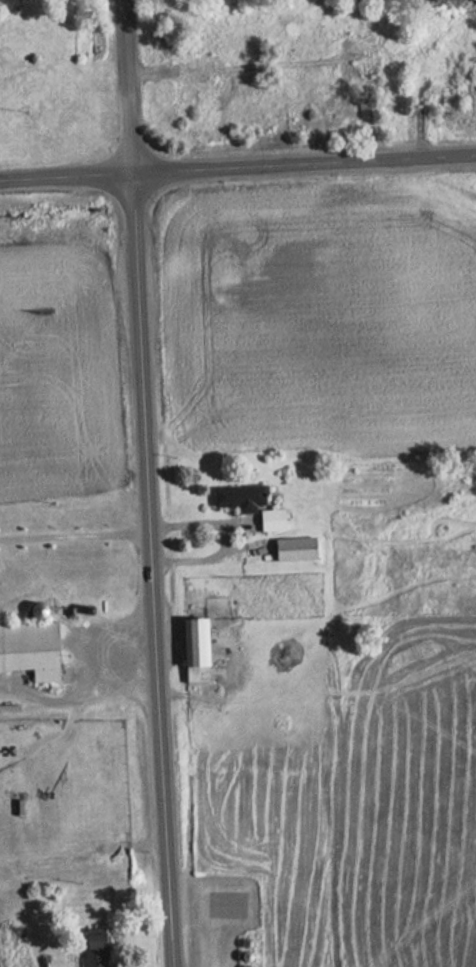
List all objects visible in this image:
building: (351, 46)
building: (199, 80)
road: (128, 88)
road: (238, 169)
building: (247, 503)
road: (75, 535)
road: (226, 535)
building: (291, 547)
road: (152, 571)
building: (190, 648)
building: (29, 650)
road: (83, 689)
building: (91, 947)

